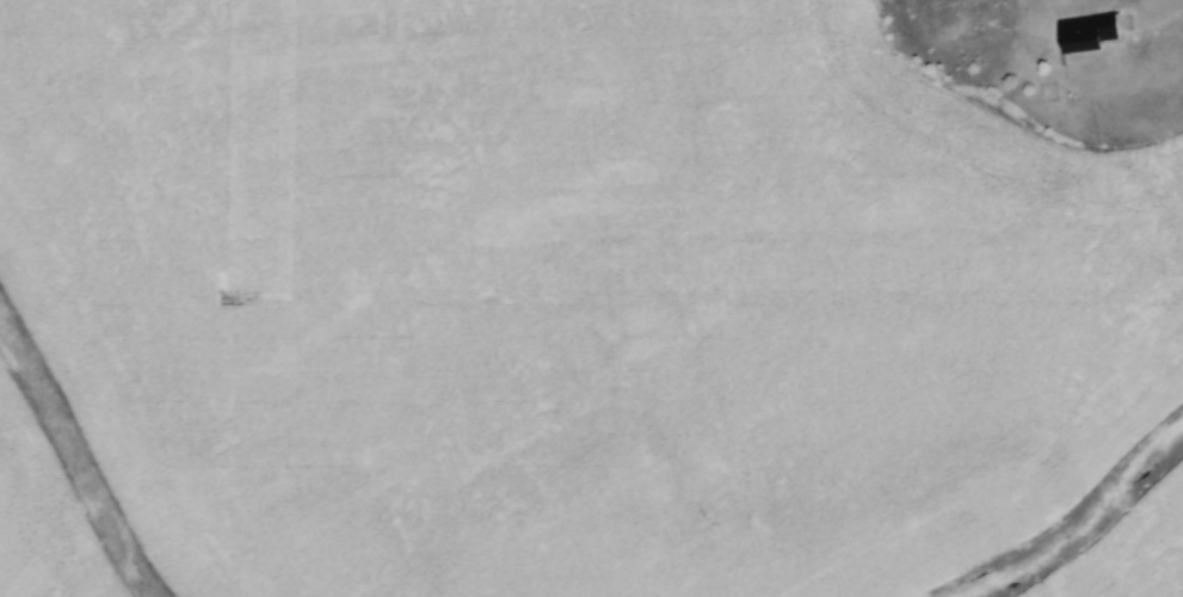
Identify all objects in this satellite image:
road: (1160, 10)
building: (1088, 32)

